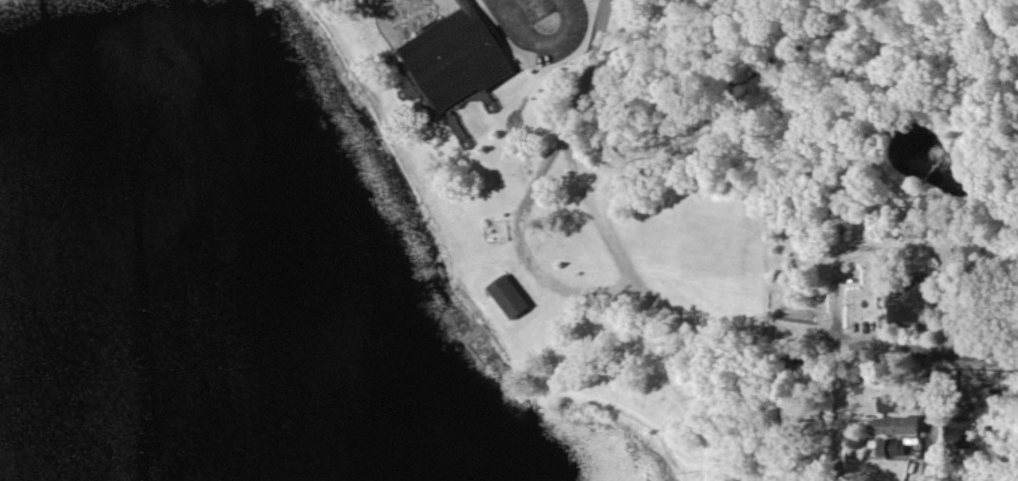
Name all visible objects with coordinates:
road: (549, 40)
building: (456, 59)
road: (562, 142)
road: (600, 209)
road: (892, 248)
building: (973, 250)
building: (510, 296)
building: (909, 302)
road: (739, 328)
road: (983, 361)
building: (889, 403)
road: (824, 411)
building: (801, 413)
road: (950, 417)
building: (895, 425)
building: (960, 432)
building: (892, 447)

